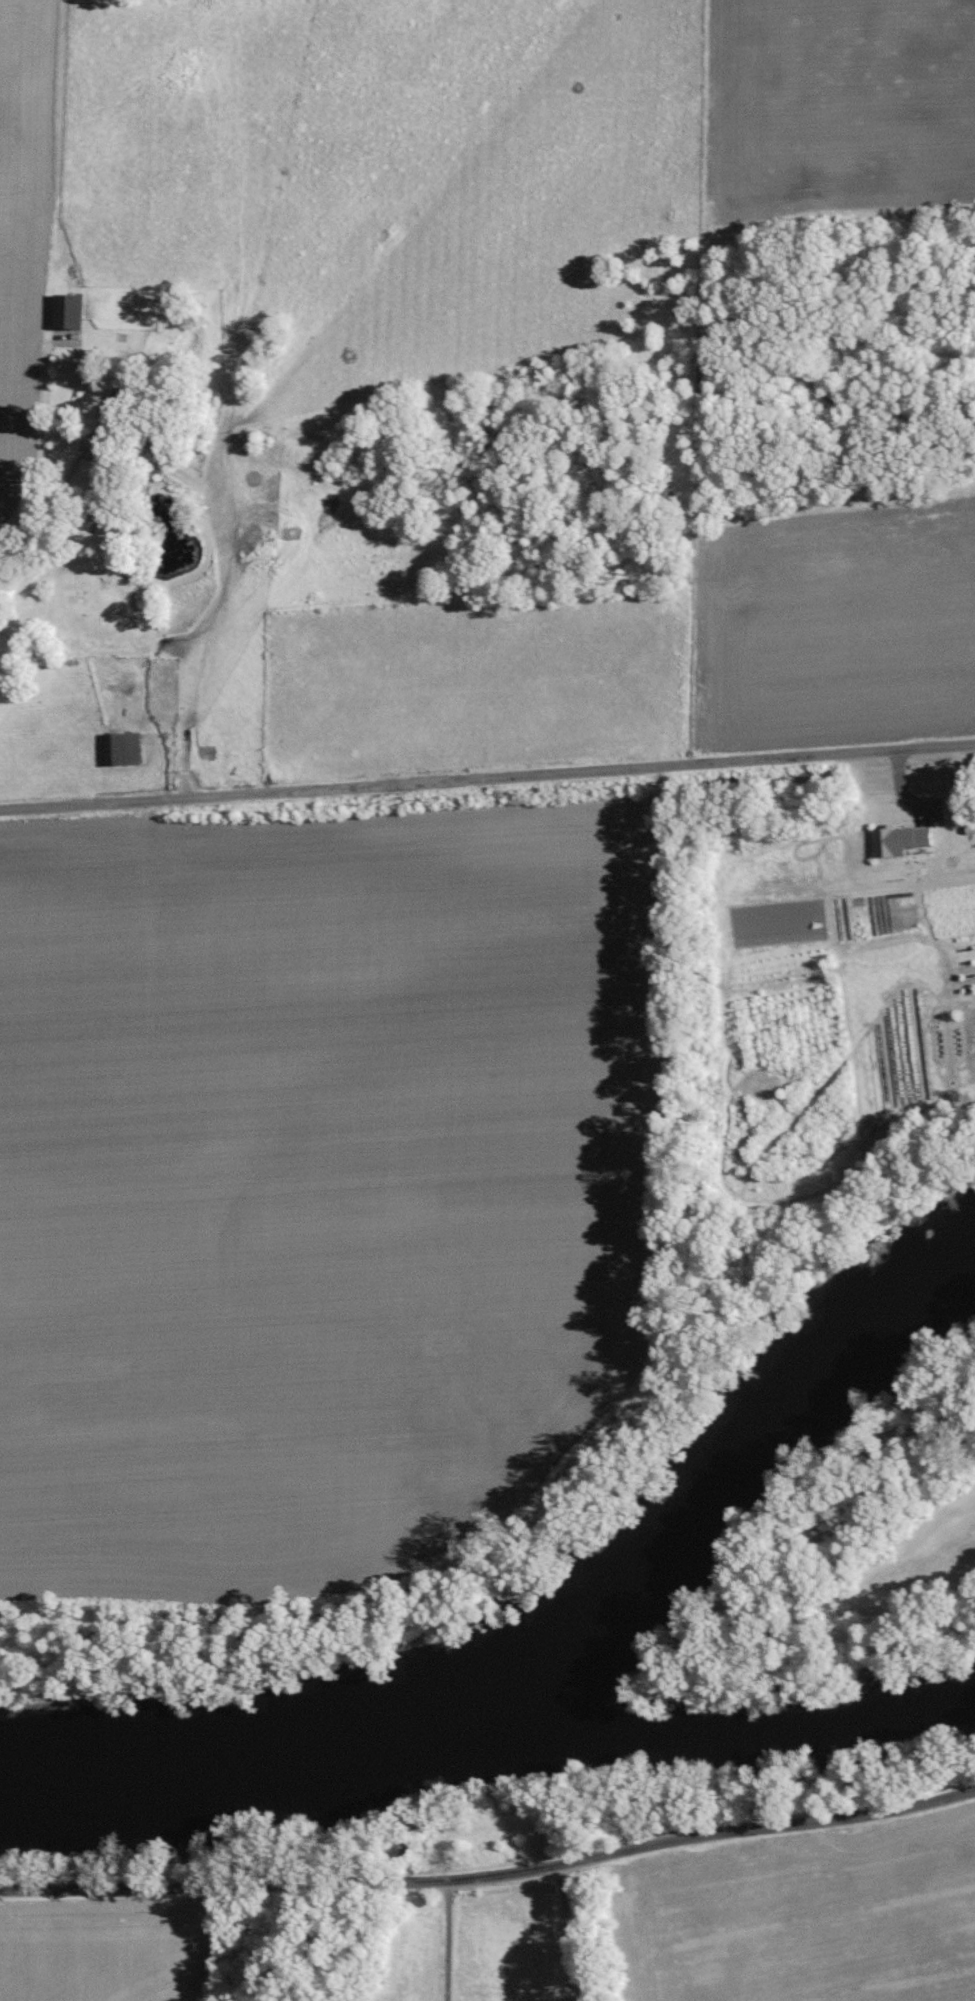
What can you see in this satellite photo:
building: (67, 312)
building: (91, 475)
road: (33, 506)
building: (122, 748)
road: (487, 790)
building: (899, 839)
river: (705, 1476)
river: (490, 1737)
road: (492, 1872)
road: (561, 1930)
road: (438, 1938)

